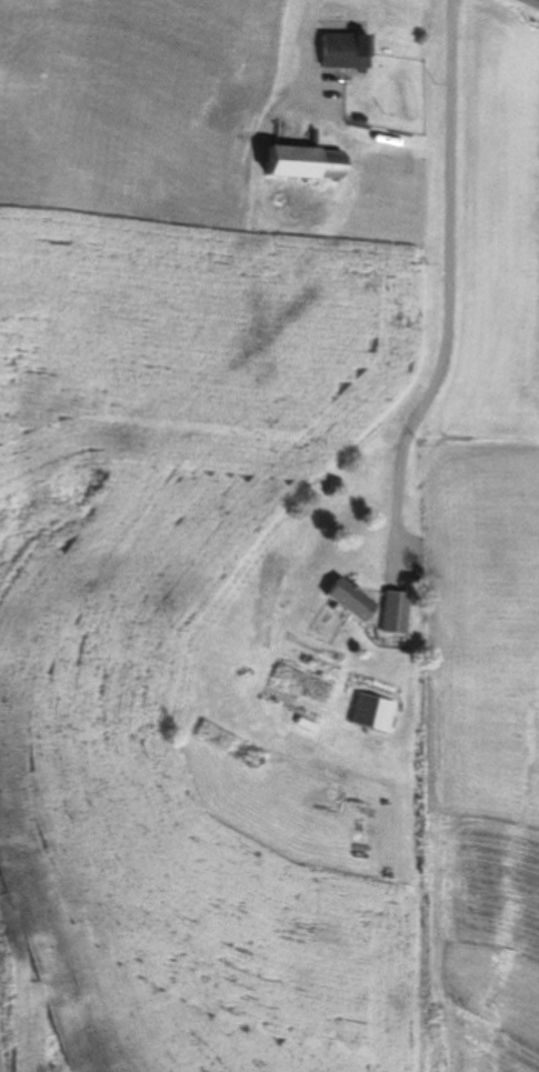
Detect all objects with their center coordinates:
building: (345, 50)
building: (305, 162)
building: (350, 600)
building: (393, 621)
building: (361, 702)

